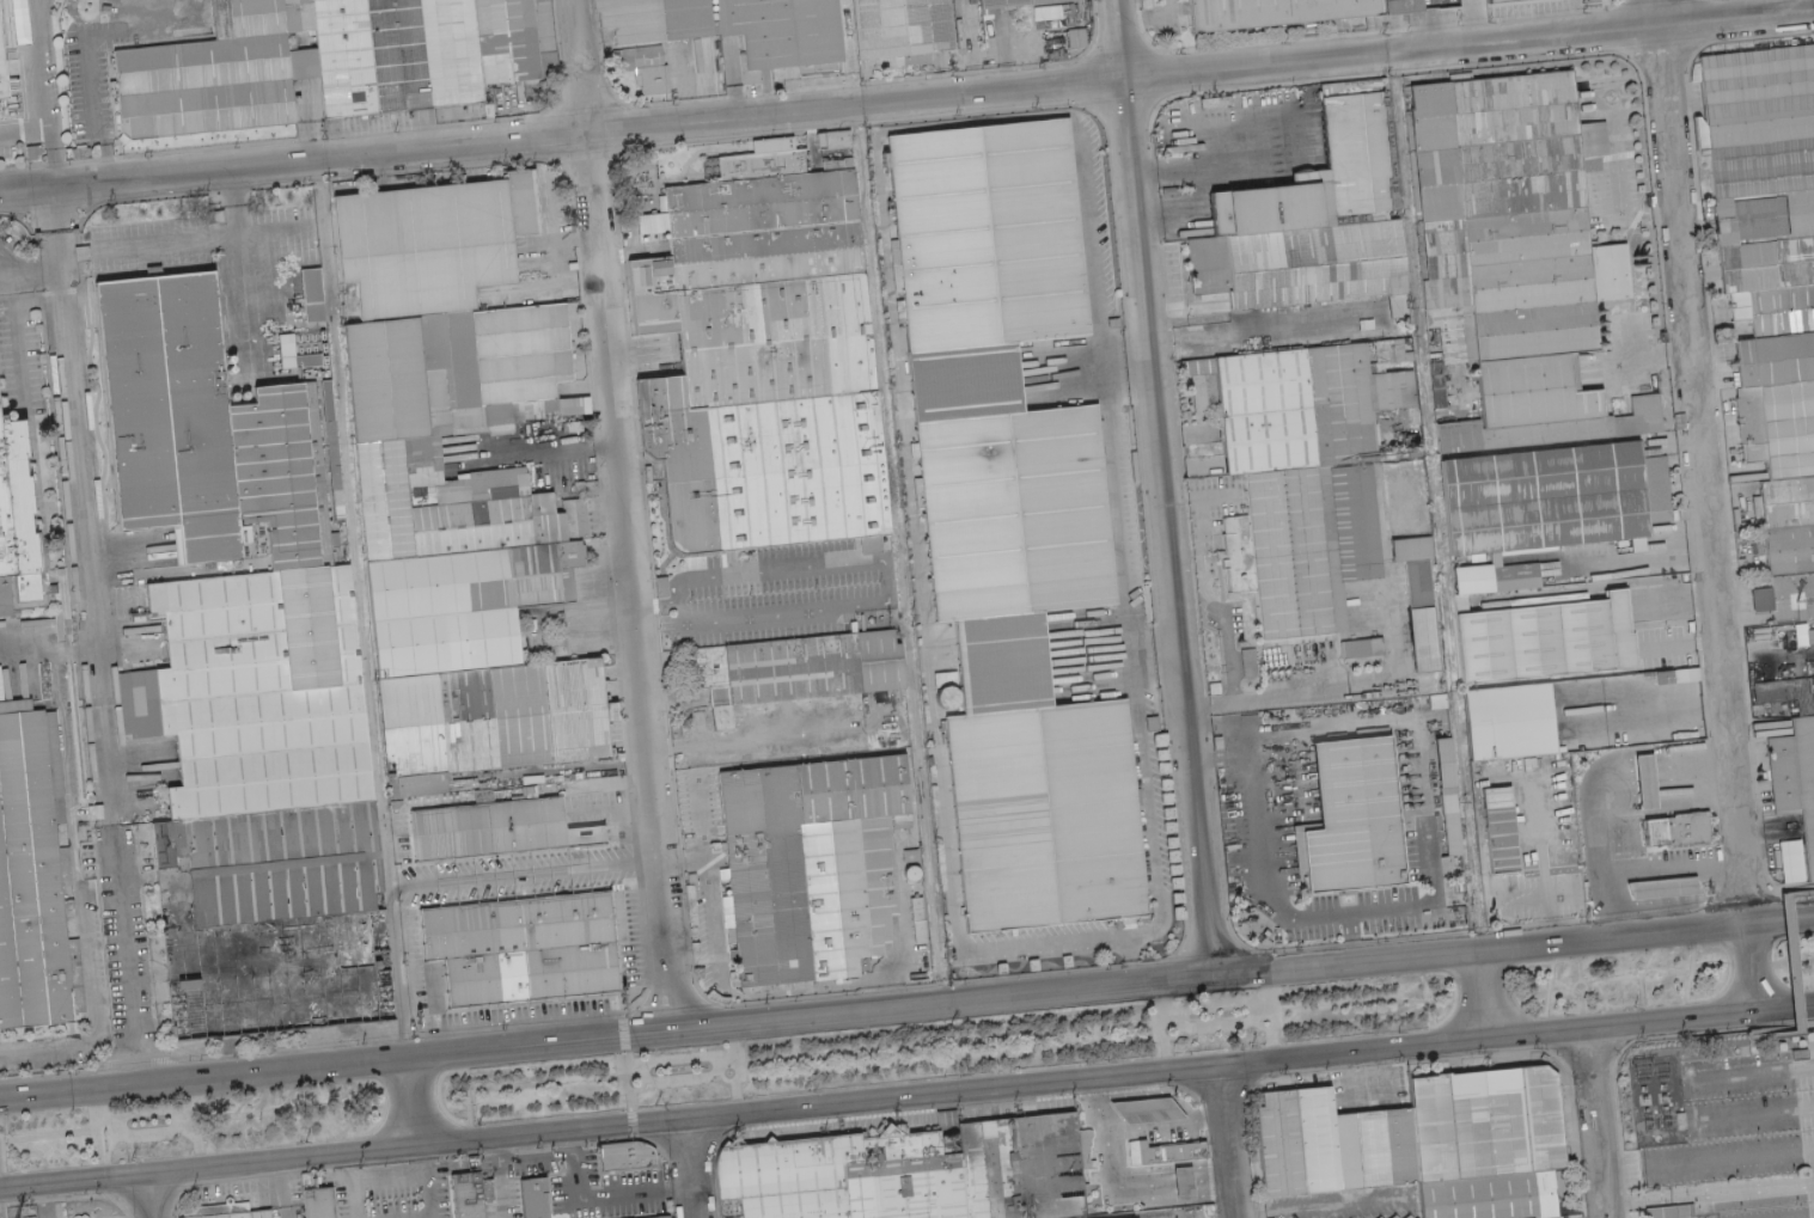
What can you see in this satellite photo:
gas station: (1644, 826)
power substation: (1627, 1100)

